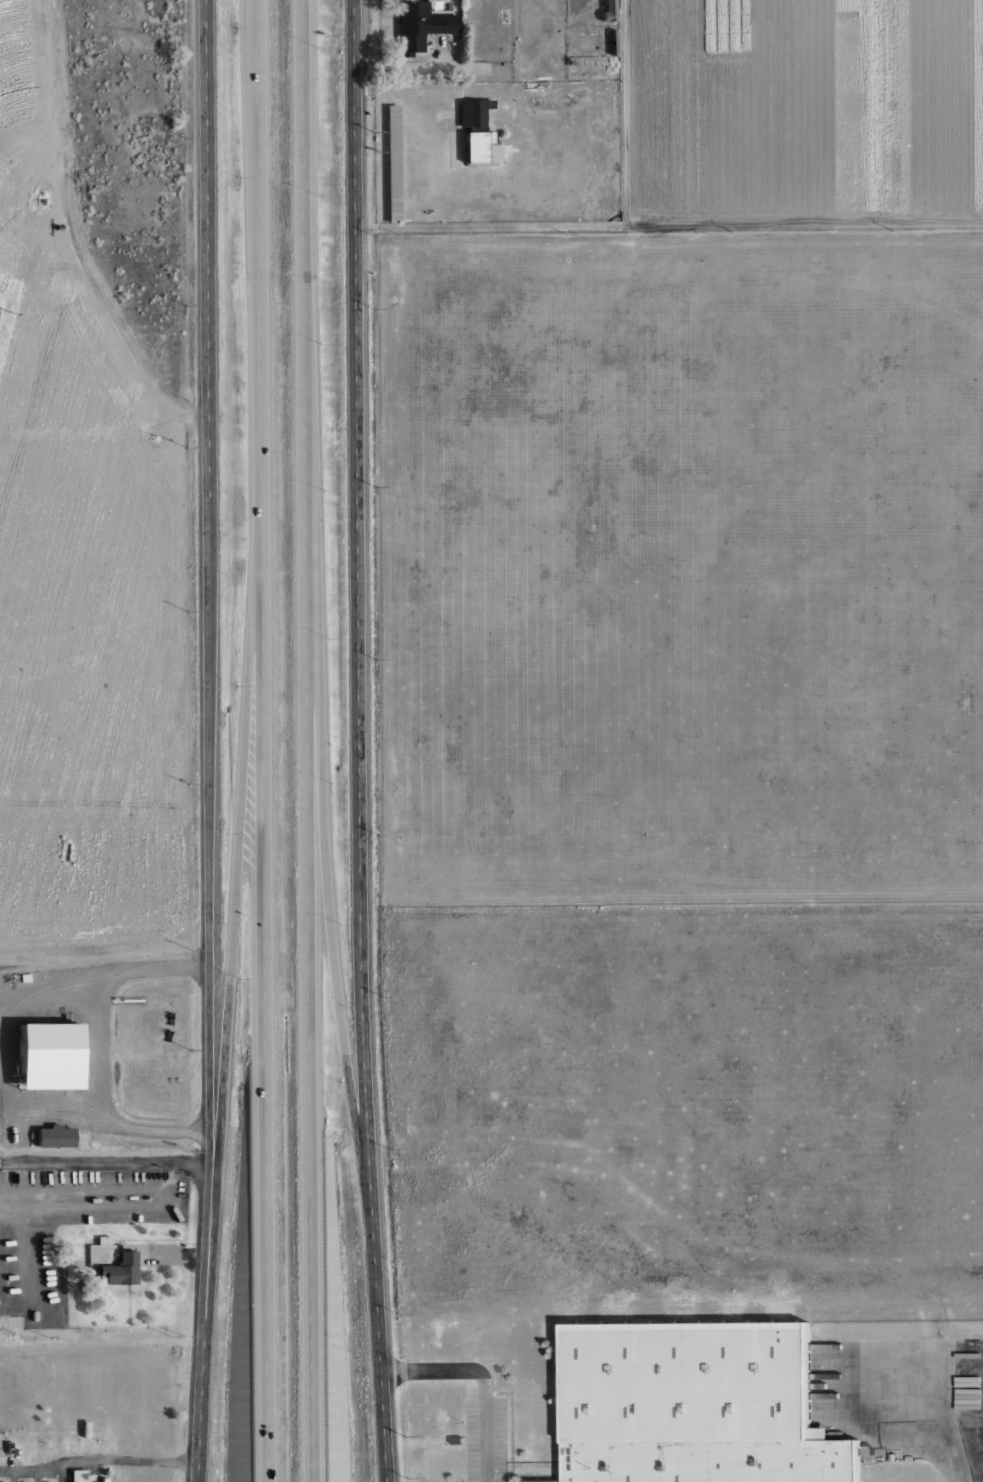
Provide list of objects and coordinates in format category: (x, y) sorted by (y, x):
crop: (809, 7)
building: (607, 11)
building: (418, 26)
building: (613, 41)
crop: (18, 51)
building: (612, 68)
building: (472, 112)
building: (478, 147)
building: (392, 163)
road: (702, 216)
road: (109, 322)
crop: (2, 328)
airport: (679, 564)
road: (264, 740)
road: (309, 740)
road: (210, 741)
road: (360, 741)
building: (29, 846)
building: (169, 875)
road: (236, 896)
road: (334, 948)
building: (42, 1055)
building: (7, 1134)
building: (52, 1135)
road: (109, 1159)
building: (101, 1239)
building: (119, 1269)
road: (479, 1378)
building: (695, 1404)
road: (945, 1416)
building: (108, 1433)
building: (83, 1437)
building: (32, 1443)
building: (8, 1447)
building: (105, 1471)
building: (77, 1475)
building: (113, 1477)
building: (102, 1479)

